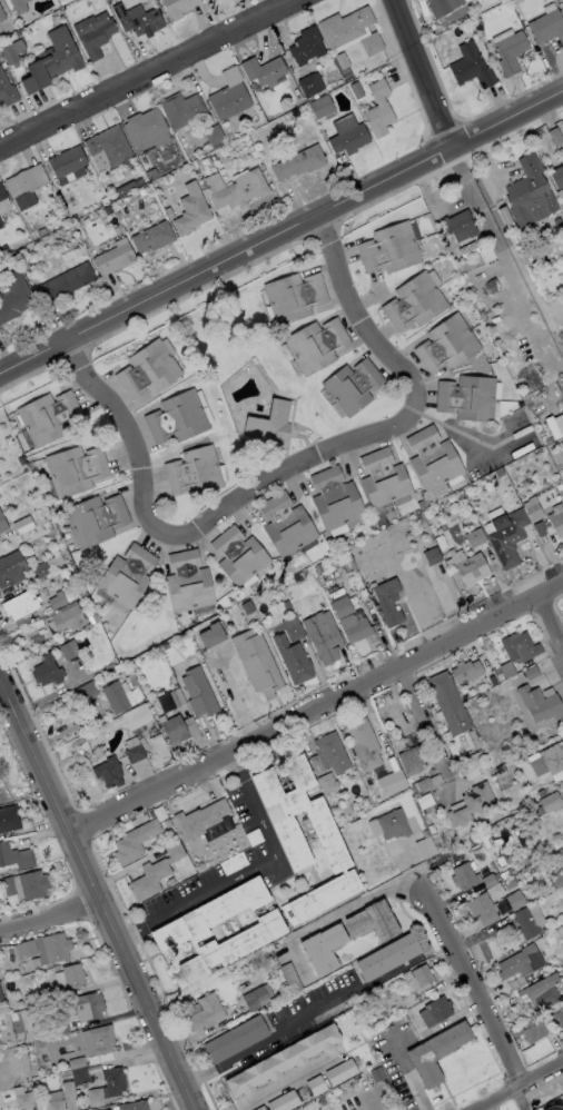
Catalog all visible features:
building: (209, 0)
building: (20, 6)
building: (415, 6)
building: (179, 7)
building: (443, 7)
building: (2, 16)
building: (139, 21)
building: (345, 28)
building: (547, 28)
building: (19, 32)
building: (97, 39)
building: (372, 44)
building: (307, 47)
building: (12, 52)
building: (511, 52)
building: (52, 61)
building: (343, 61)
building: (471, 68)
building: (263, 72)
road: (427, 72)
road: (151, 75)
building: (308, 86)
building: (7, 91)
building: (229, 101)
building: (322, 107)
building: (182, 110)
building: (379, 110)
building: (299, 112)
building: (287, 119)
building: (146, 126)
building: (214, 135)
building: (553, 137)
building: (349, 140)
building: (562, 145)
building: (110, 146)
building: (67, 162)
building: (205, 162)
building: (299, 163)
building: (194, 165)
building: (547, 165)
building: (557, 177)
building: (27, 182)
building: (125, 189)
building: (145, 191)
building: (241, 191)
building: (2, 194)
building: (560, 194)
building: (530, 195)
building: (111, 198)
building: (3, 205)
building: (191, 210)
building: (169, 214)
building: (126, 215)
building: (506, 217)
building: (1, 225)
building: (461, 226)
building: (41, 232)
road: (280, 235)
building: (152, 238)
building: (391, 249)
building: (468, 251)
road: (500, 252)
building: (487, 255)
building: (113, 260)
building: (66, 284)
building: (14, 297)
building: (295, 297)
building: (415, 304)
road: (364, 317)
building: (447, 345)
building: (317, 346)
building: (148, 370)
building: (353, 386)
building: (467, 398)
building: (49, 418)
building: (177, 418)
building: (271, 425)
building: (554, 426)
road: (135, 434)
building: (433, 459)
road: (292, 469)
building: (76, 470)
building: (195, 472)
building: (500, 473)
building: (383, 478)
building: (461, 495)
building: (335, 499)
building: (421, 505)
building: (534, 512)
building: (96, 521)
building: (557, 524)
building: (2, 525)
building: (286, 525)
building: (23, 526)
building: (345, 526)
building: (540, 529)
building: (507, 537)
building: (475, 538)
building: (239, 556)
building: (432, 557)
building: (472, 569)
building: (12, 571)
building: (41, 571)
building: (495, 571)
building: (128, 576)
building: (299, 579)
building: (188, 583)
building: (81, 594)
building: (60, 599)
building: (387, 602)
building: (21, 605)
building: (287, 605)
building: (342, 607)
building: (247, 608)
road: (556, 608)
building: (92, 618)
building: (68, 620)
building: (33, 626)
building: (357, 631)
building: (295, 633)
building: (211, 636)
building: (324, 636)
building: (69, 651)
building: (512, 655)
building: (293, 660)
building: (257, 663)
building: (48, 671)
building: (497, 671)
building: (467, 672)
building: (531, 673)
building: (500, 677)
building: (172, 681)
building: (493, 682)
road: (1, 688)
building: (87, 692)
building: (198, 693)
building: (122, 695)
building: (176, 698)
building: (448, 704)
building: (541, 704)
building: (432, 710)
road: (317, 711)
building: (381, 713)
building: (137, 717)
road: (425, 724)
building: (175, 730)
building: (67, 739)
building: (474, 741)
building: (364, 745)
building: (386, 749)
building: (161, 752)
building: (332, 753)
building: (135, 754)
building: (546, 760)
building: (411, 761)
road: (235, 767)
building: (109, 773)
building: (392, 783)
building: (327, 784)
building: (423, 785)
building: (541, 793)
building: (425, 802)
building: (549, 803)
building: (473, 805)
building: (345, 811)
building: (281, 812)
building: (160, 814)
building: (9, 820)
building: (201, 820)
building: (167, 824)
building: (389, 825)
building: (513, 825)
building: (255, 838)
building: (135, 842)
building: (485, 842)
building: (425, 846)
building: (174, 851)
building: (16, 858)
building: (549, 861)
building: (234, 864)
road: (247, 870)
building: (471, 878)
building: (149, 880)
building: (559, 880)
building: (170, 882)
building: (33, 885)
building: (10, 886)
road: (98, 894)
building: (322, 898)
building: (515, 901)
building: (480, 908)
road: (50, 914)
road: (334, 916)
building: (373, 922)
building: (526, 923)
road: (130, 930)
building: (544, 931)
building: (179, 932)
building: (554, 934)
building: (324, 949)
building: (47, 950)
building: (13, 955)
building: (387, 958)
building: (516, 963)
building: (56, 968)
building: (1, 969)
building: (422, 975)
building: (70, 978)
building: (281, 978)
building: (290, 978)
building: (403, 982)
road: (473, 989)
building: (541, 994)
building: (48, 995)
building: (1, 999)
building: (36, 1000)
building: (256, 1000)
building: (27, 1003)
building: (87, 1007)
building: (435, 1011)
building: (206, 1013)
road: (309, 1018)
building: (556, 1018)
building: (59, 1028)
building: (533, 1031)
building: (237, 1039)
building: (98, 1041)
building: (436, 1053)
building: (45, 1058)
building: (283, 1061)
building: (342, 1073)
building: (377, 1074)
road: (198, 1077)
building: (76, 1078)
road: (285, 1080)
building: (115, 1082)
road: (517, 1086)
building: (316, 1087)
building: (52, 1096)
building: (96, 1098)
building: (23, 1101)
building: (285, 1102)
building: (322, 1103)
building: (56, 1106)
building: (134, 1106)
building: (556, 1107)
building: (261, 1108)
road: (231, 1109)

